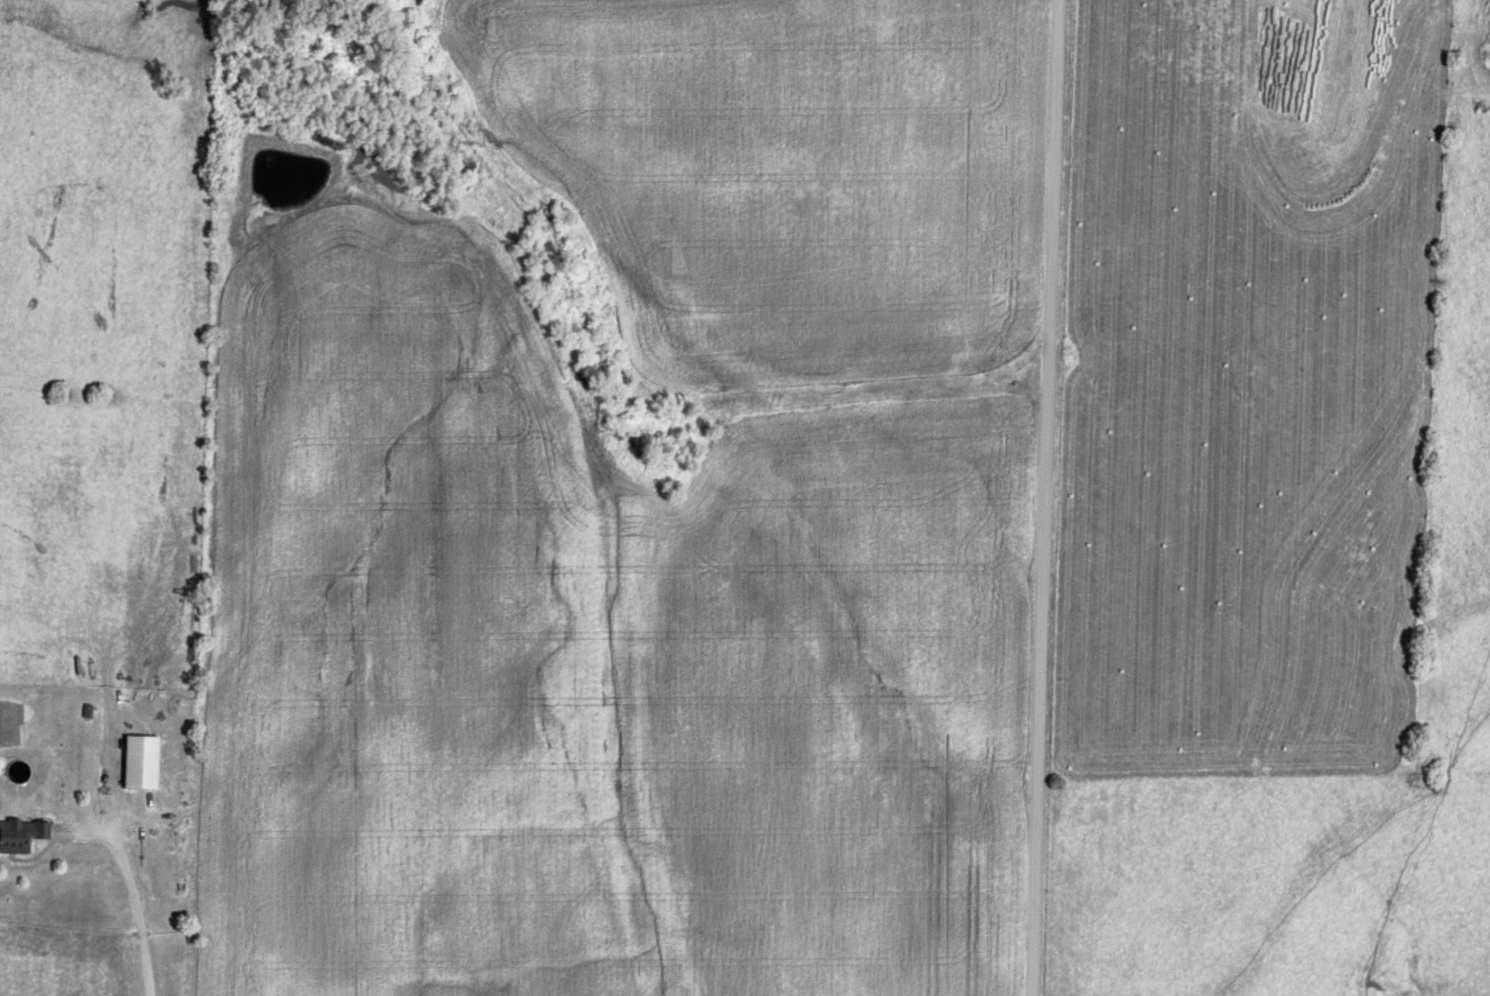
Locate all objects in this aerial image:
road: (1043, 497)
building: (21, 835)
road: (138, 912)

